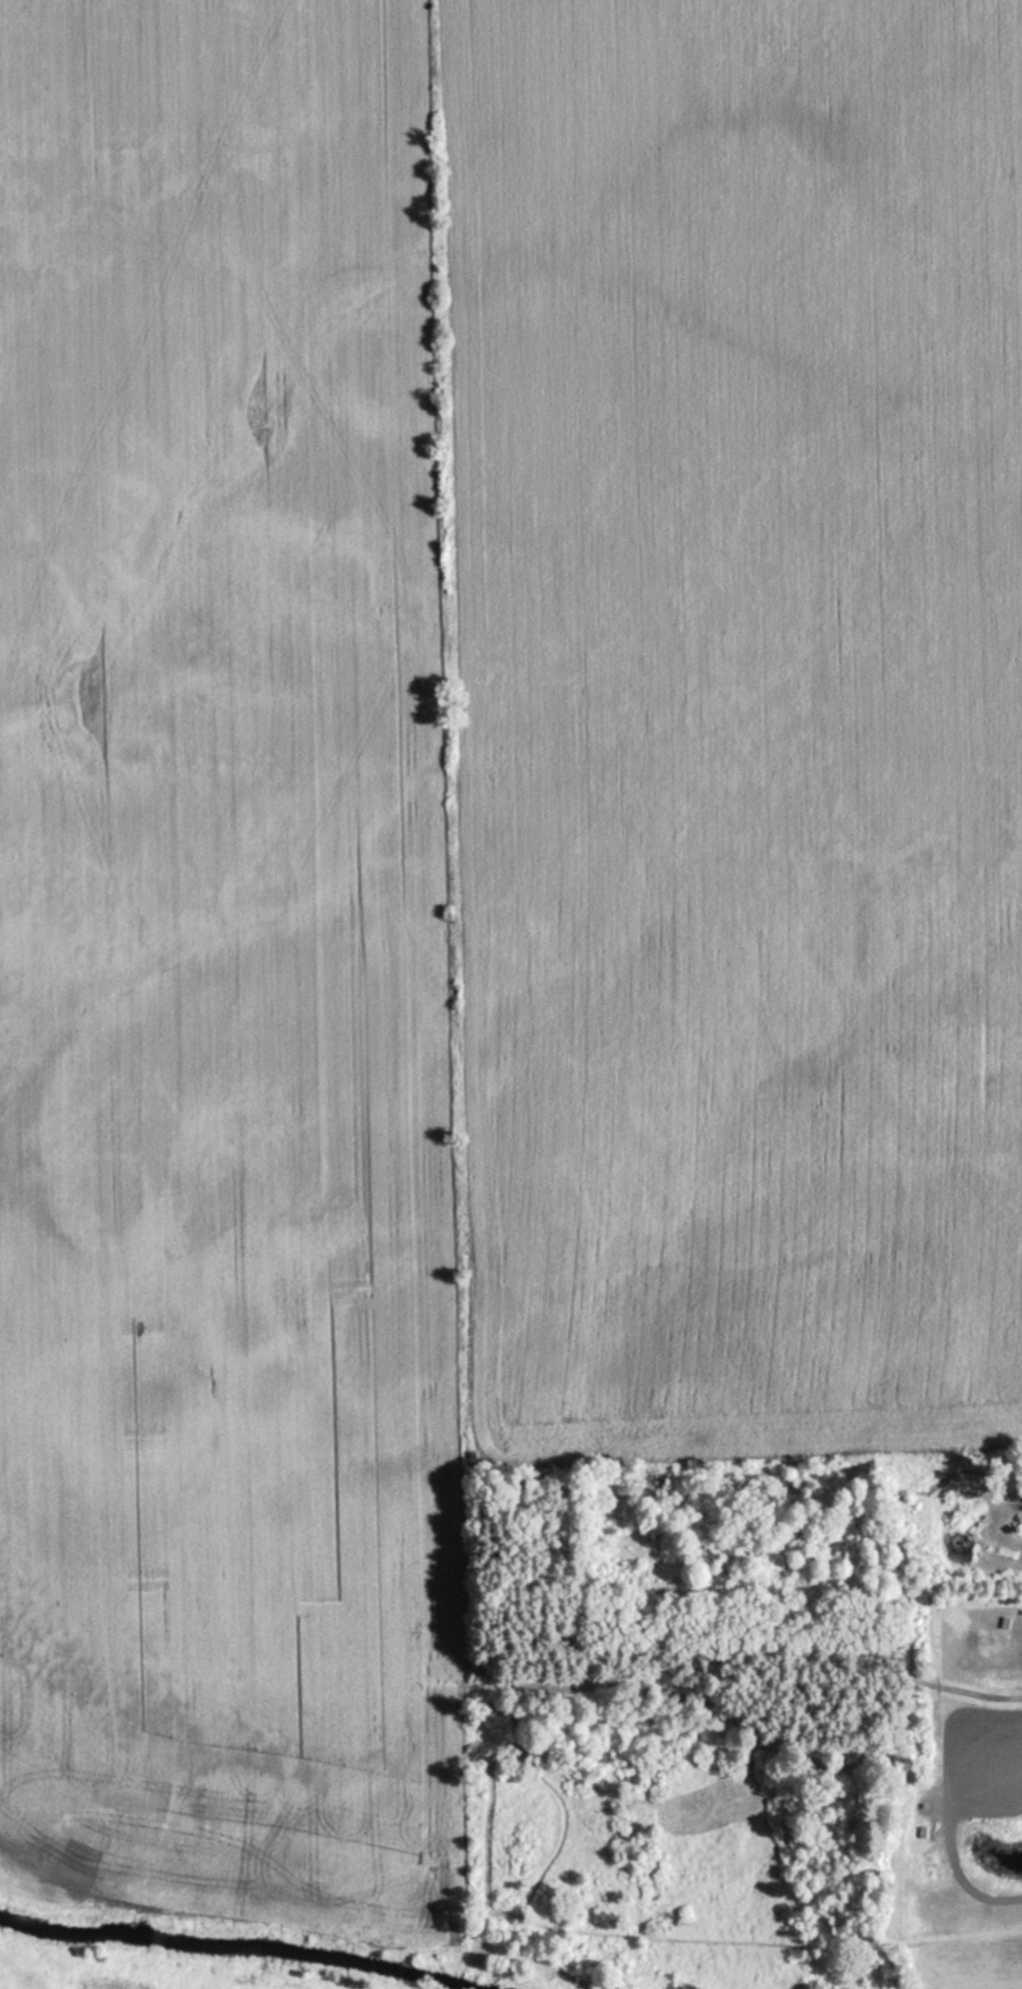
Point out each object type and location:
river: (235, 1948)

